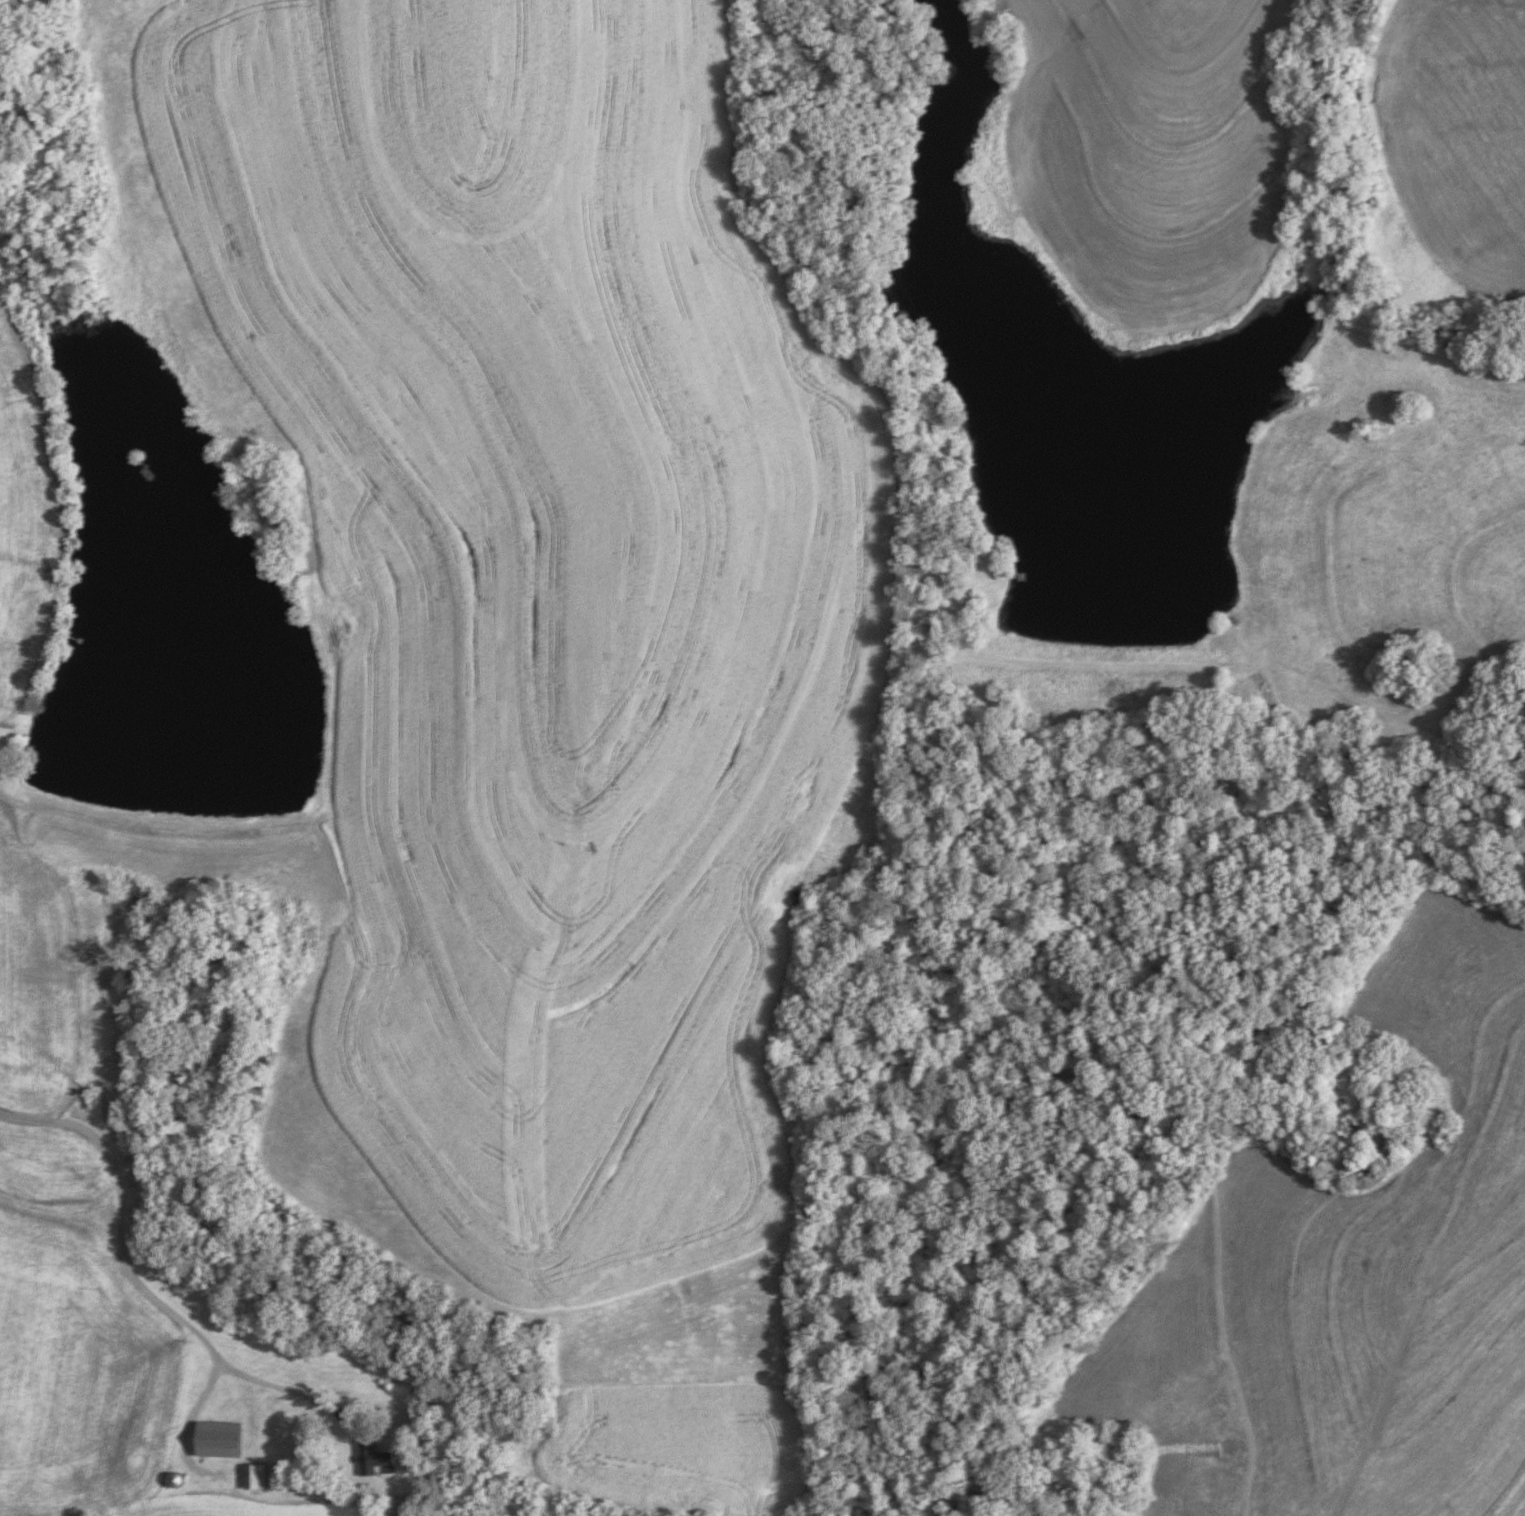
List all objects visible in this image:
road: (132, 1280)
road: (183, 1431)
building: (219, 1439)
building: (377, 1460)
building: (255, 1476)

